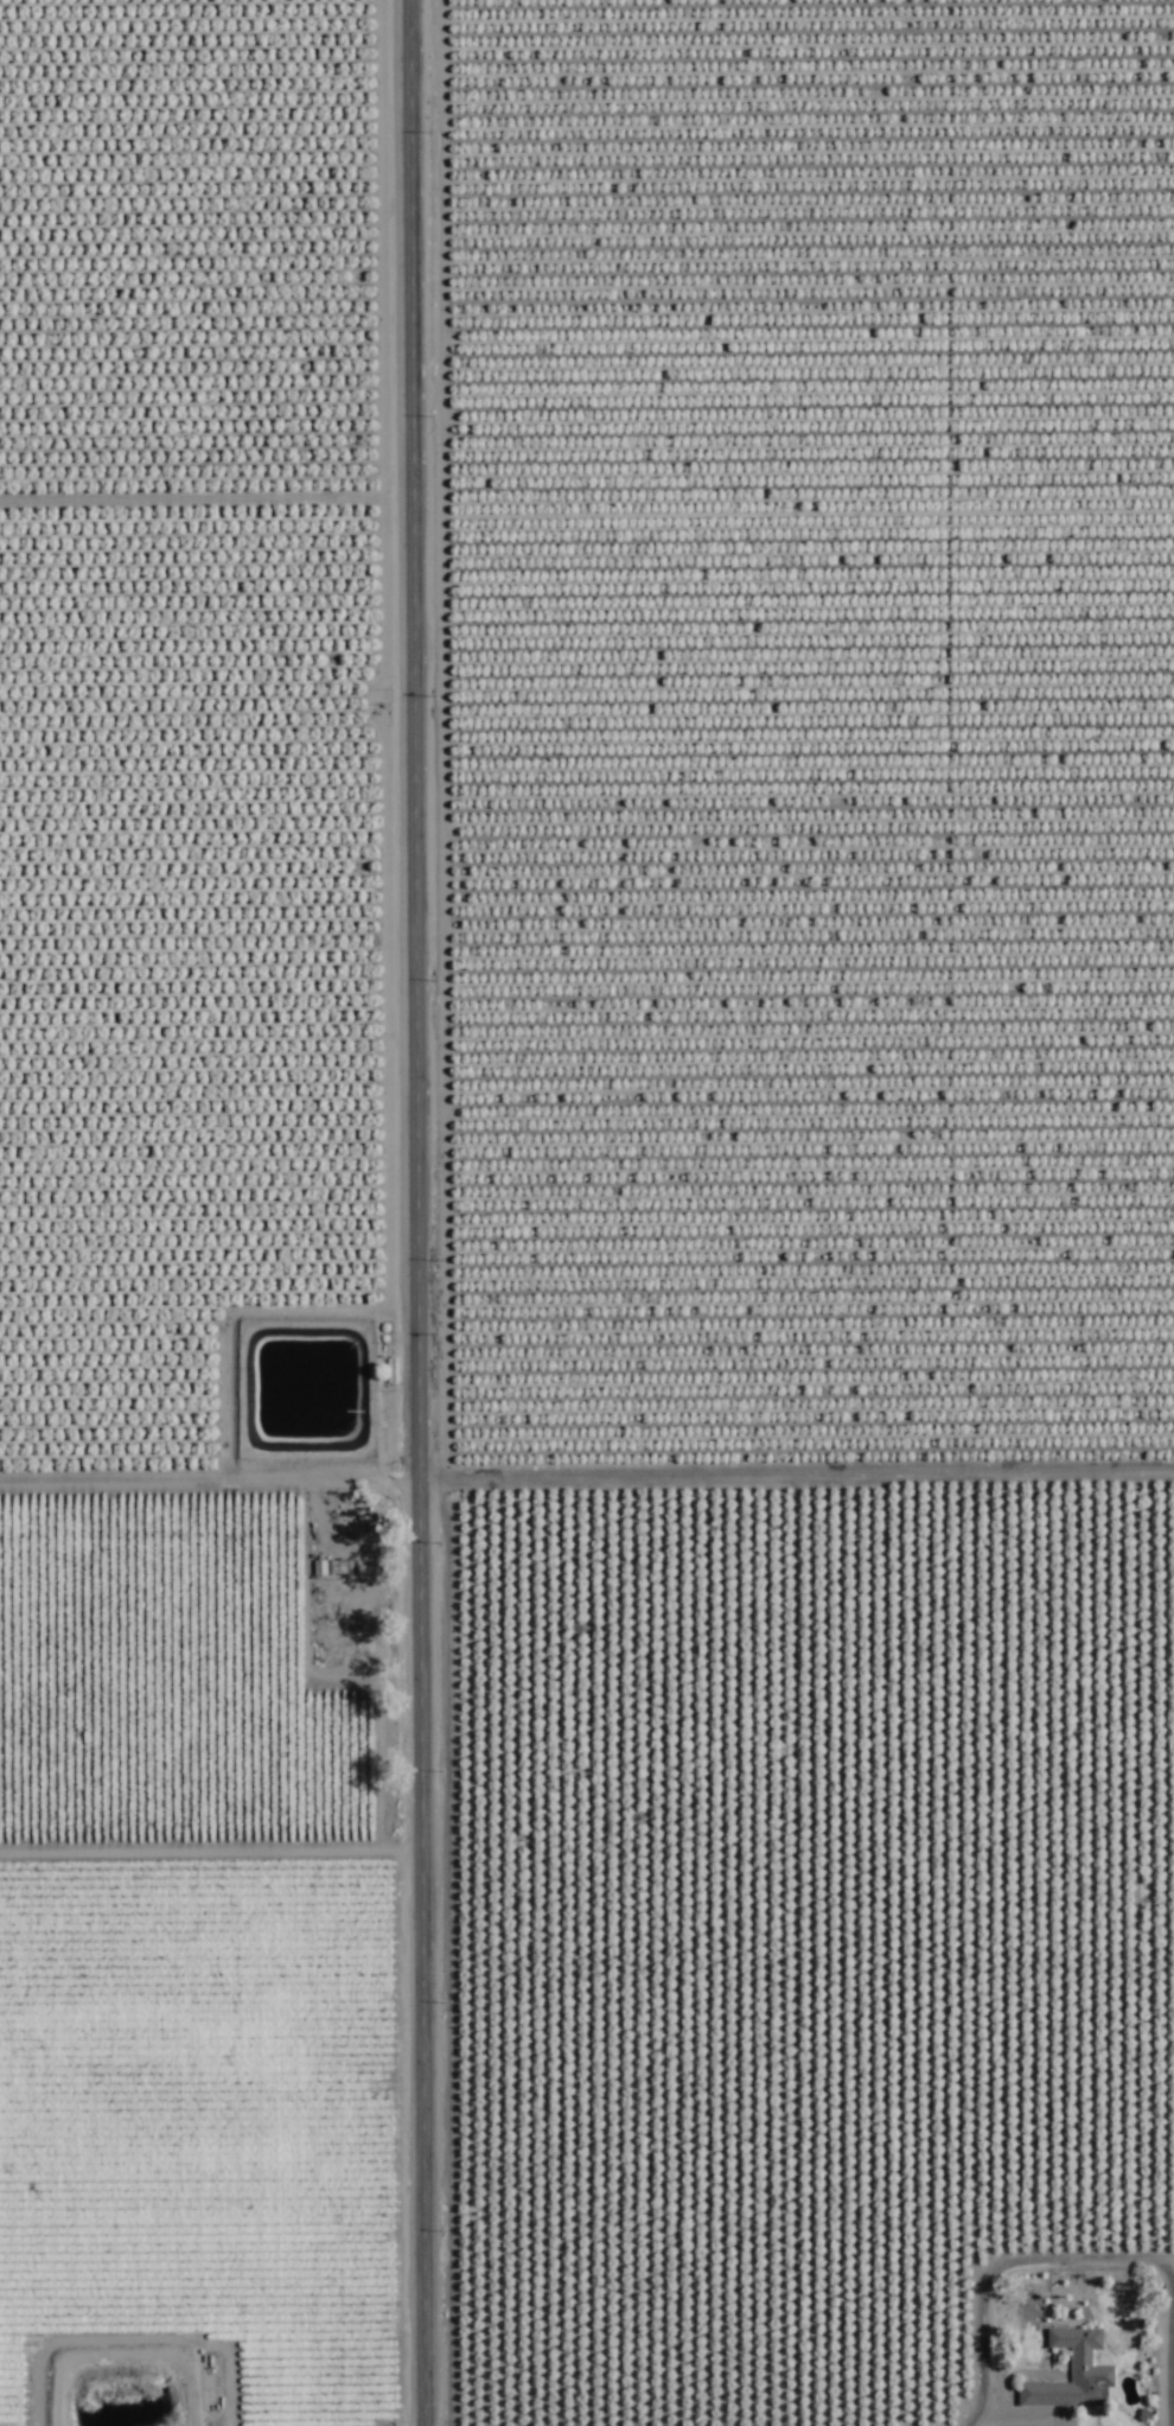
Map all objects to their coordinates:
building: (166, 51)
road: (420, 1212)
crop: (587, 1212)
wastewater plant: (302, 1395)
road: (587, 1463)
road: (799, 1956)
building: (1071, 2374)
wastewater plant: (120, 2395)

